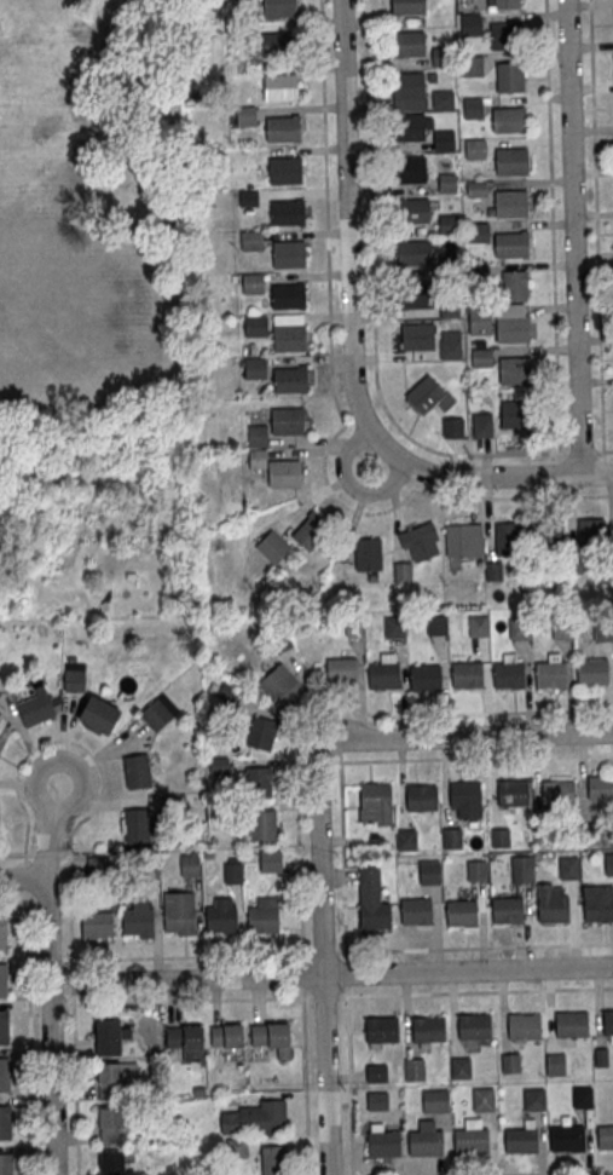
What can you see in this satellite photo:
building: (503, 5)
building: (279, 7)
building: (409, 7)
building: (472, 24)
building: (505, 35)
building: (407, 42)
building: (278, 44)
building: (436, 61)
building: (472, 65)
building: (509, 76)
building: (407, 83)
building: (279, 86)
building: (441, 98)
building: (470, 106)
building: (245, 115)
building: (509, 120)
building: (406, 126)
building: (283, 127)
building: (443, 139)
building: (474, 148)
building: (511, 161)
building: (409, 168)
building: (284, 171)
building: (446, 182)
building: (475, 189)
building: (247, 196)
building: (510, 202)
building: (412, 211)
building: (287, 213)
building: (449, 223)
road: (349, 229)
road: (596, 230)
building: (478, 231)
road: (573, 237)
building: (251, 240)
building: (511, 243)
road: (553, 247)
building: (414, 250)
building: (289, 253)
building: (478, 272)
building: (253, 282)
building: (514, 284)
building: (288, 295)
building: (415, 295)
road: (374, 301)
building: (449, 306)
building: (479, 317)
building: (256, 324)
building: (511, 328)
building: (416, 335)
building: (289, 336)
road: (331, 340)
building: (449, 347)
building: (481, 357)
building: (255, 367)
building: (515, 368)
building: (290, 379)
building: (423, 393)
building: (514, 413)
building: (288, 421)
building: (480, 425)
building: (452, 426)
building: (272, 460)
road: (495, 477)
road: (553, 497)
building: (310, 530)
building: (548, 535)
building: (590, 535)
building: (508, 537)
building: (470, 538)
building: (272, 546)
building: (416, 548)
building: (368, 553)
building: (493, 570)
building: (436, 623)
building: (394, 626)
building: (479, 626)
building: (517, 627)
building: (562, 628)
building: (602, 629)
building: (341, 669)
building: (591, 670)
building: (467, 673)
building: (550, 673)
building: (383, 674)
building: (509, 674)
building: (424, 676)
building: (74, 681)
building: (282, 686)
building: (229, 691)
building: (0, 693)
road: (342, 707)
building: (35, 708)
building: (98, 714)
building: (156, 714)
building: (261, 732)
road: (465, 737)
building: (1, 739)
building: (221, 765)
building: (137, 771)
building: (258, 781)
building: (600, 787)
building: (557, 790)
building: (513, 793)
building: (422, 797)
building: (465, 797)
building: (375, 802)
building: (135, 824)
building: (261, 824)
building: (592, 833)
road: (48, 836)
building: (501, 836)
building: (452, 837)
building: (405, 839)
building: (190, 863)
building: (608, 863)
building: (567, 866)
building: (520, 869)
building: (476, 870)
building: (232, 871)
building: (429, 871)
road: (22, 880)
building: (508, 910)
building: (553, 911)
building: (598, 911)
building: (179, 912)
building: (462, 912)
building: (221, 914)
building: (416, 914)
building: (264, 915)
building: (138, 918)
building: (375, 918)
building: (96, 923)
road: (46, 932)
building: (2, 935)
road: (434, 950)
road: (324, 961)
road: (330, 975)
building: (4, 980)
road: (457, 993)
road: (30, 1002)
road: (189, 1002)
building: (607, 1021)
building: (571, 1024)
building: (474, 1026)
building: (525, 1026)
building: (4, 1027)
building: (381, 1027)
building: (428, 1029)
building: (110, 1038)
building: (273, 1041)
building: (186, 1043)
building: (229, 1043)
building: (511, 1065)
building: (556, 1066)
building: (462, 1069)
building: (415, 1071)
building: (377, 1073)
building: (5, 1076)
building: (111, 1078)
road: (51, 1079)
road: (349, 1085)
road: (306, 1087)
building: (583, 1098)
building: (482, 1100)
building: (534, 1100)
building: (378, 1101)
building: (436, 1102)
building: (255, 1118)
building: (5, 1123)
building: (111, 1125)
building: (605, 1137)
building: (567, 1139)
building: (472, 1141)
building: (521, 1141)
building: (426, 1142)
building: (383, 1144)
building: (237, 1148)
building: (112, 1160)
building: (273, 1160)
building: (6, 1164)
road: (566, 1173)

